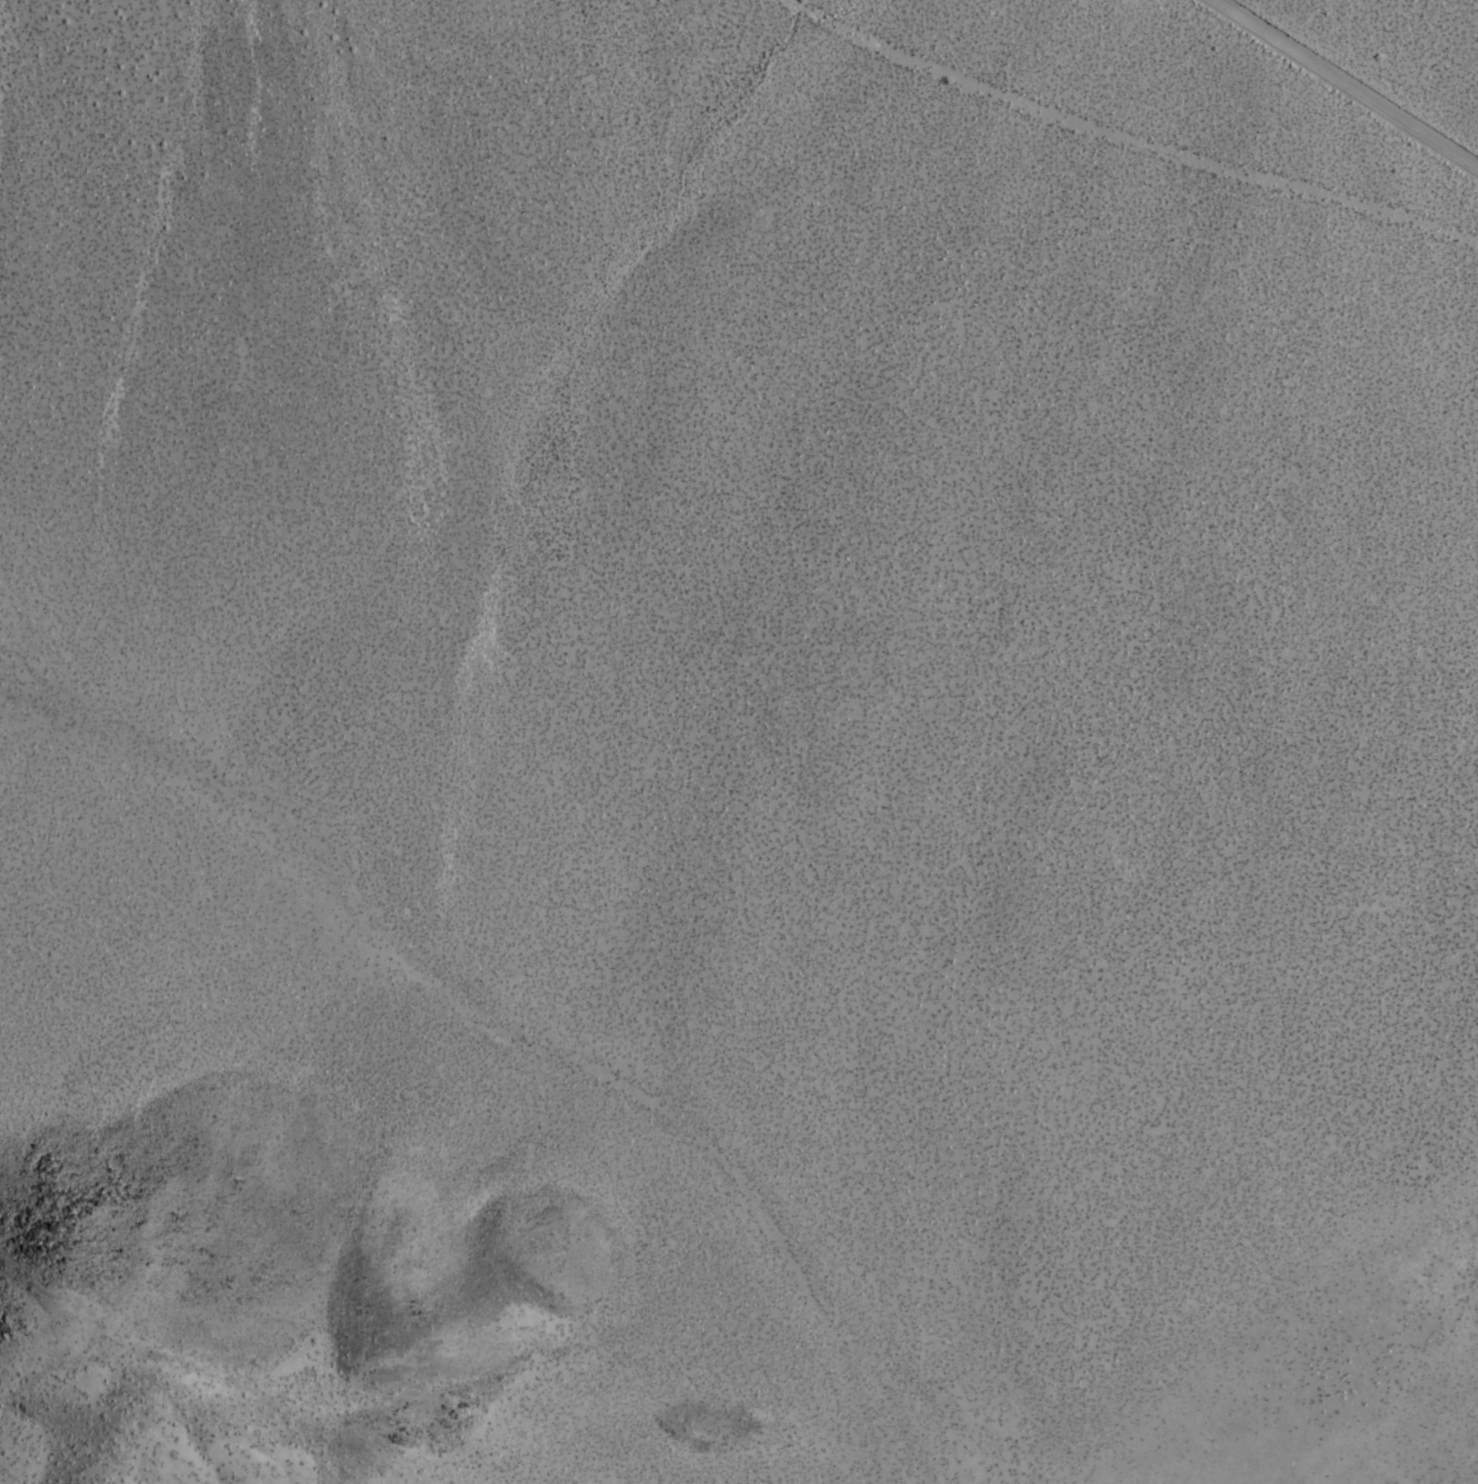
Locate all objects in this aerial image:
road: (1345, 85)

